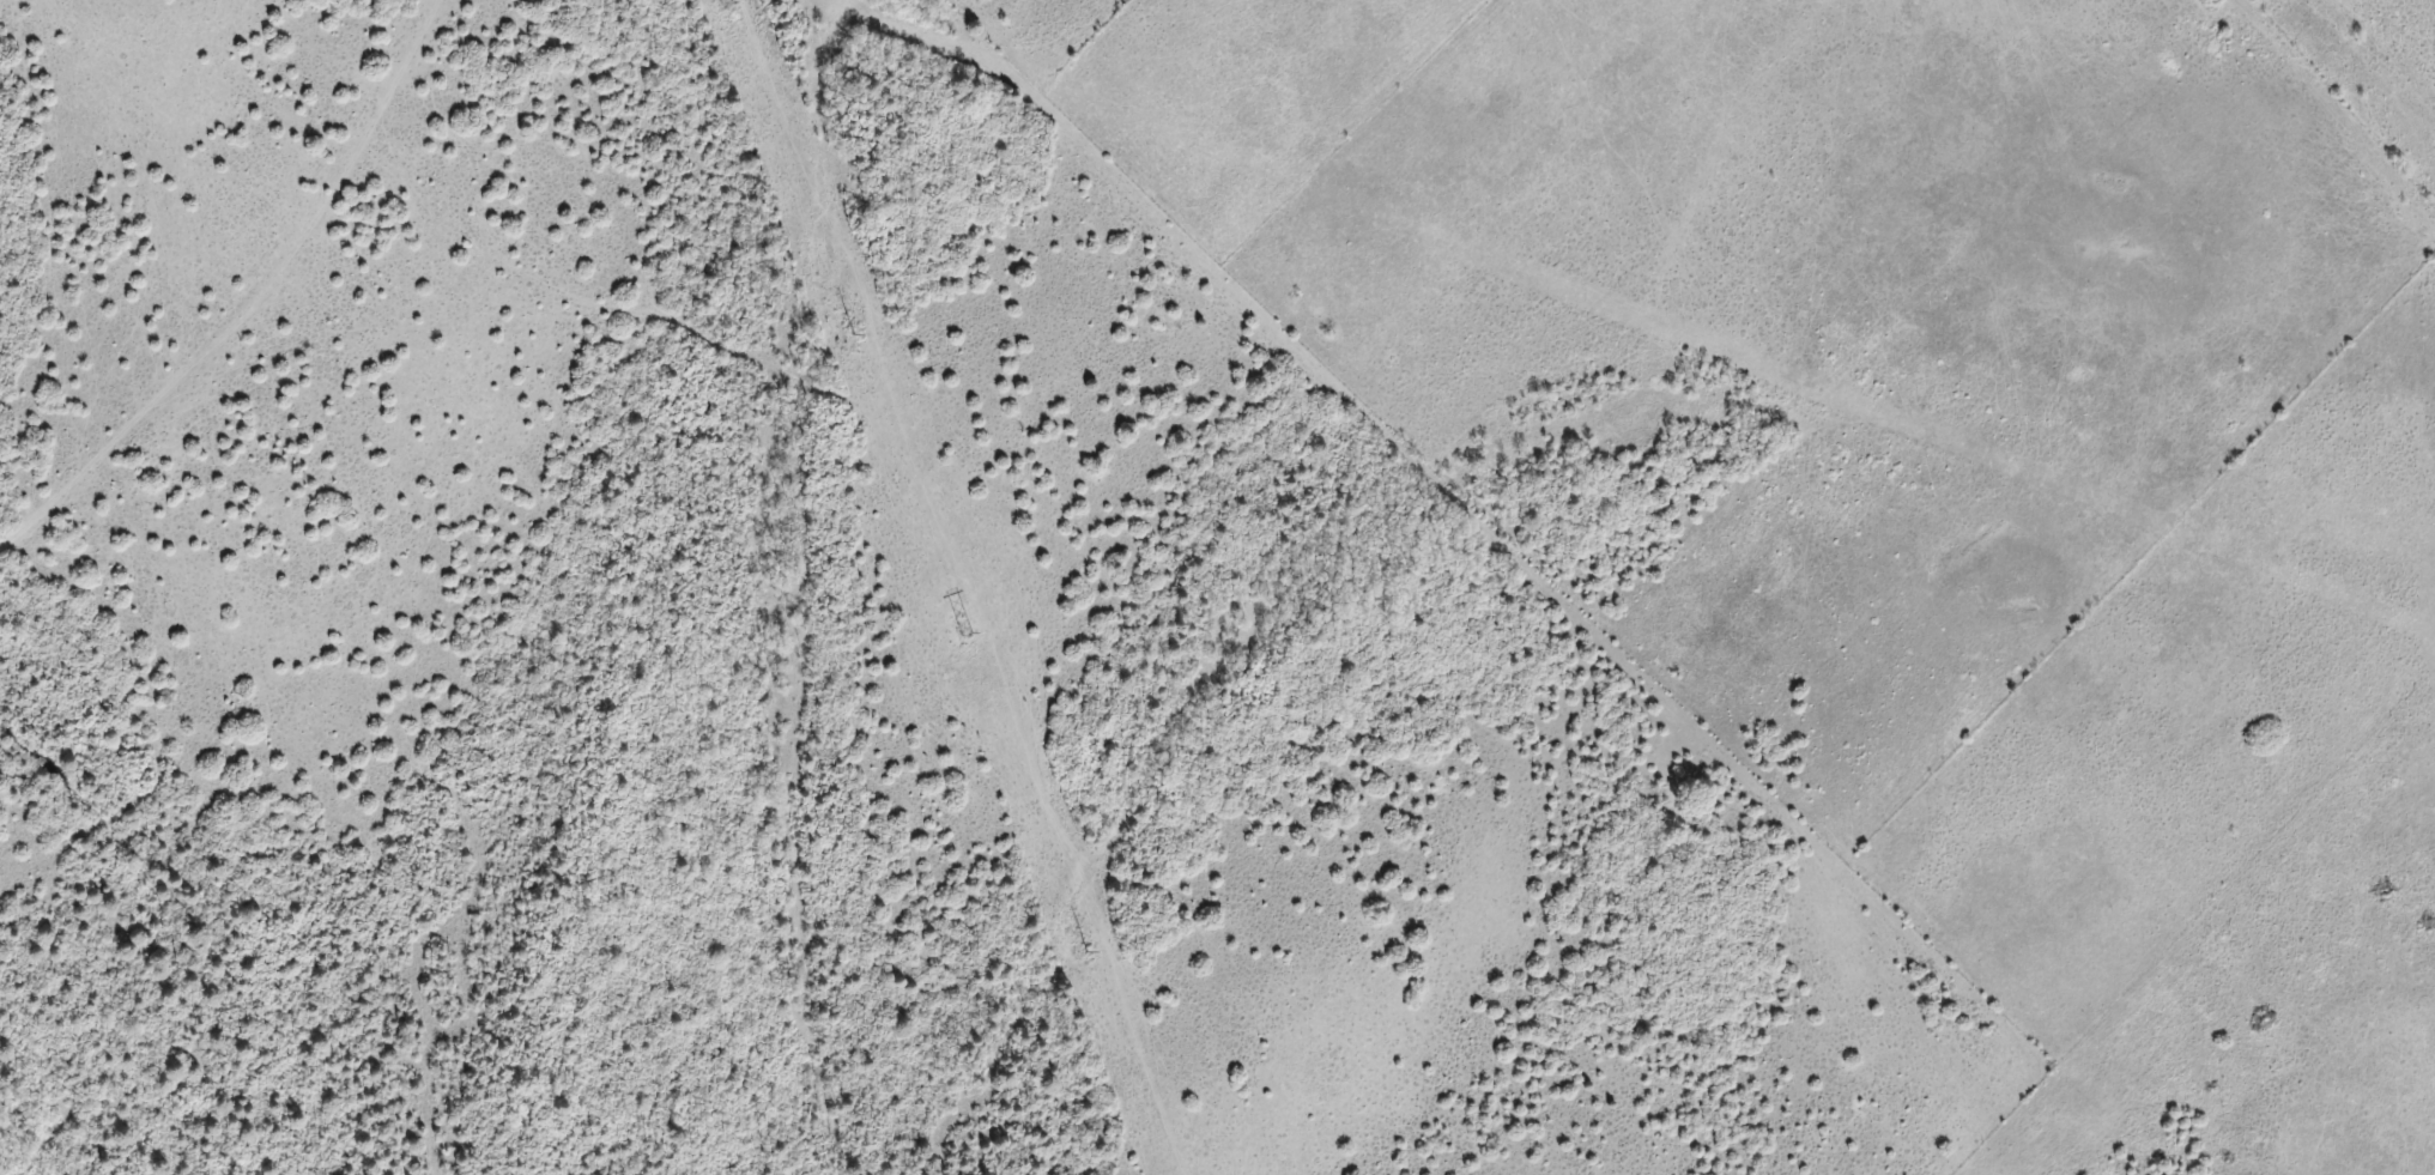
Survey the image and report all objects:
power tower: (721, 5)
power tower: (852, 335)
power tower: (962, 630)
power tower: (1084, 952)

